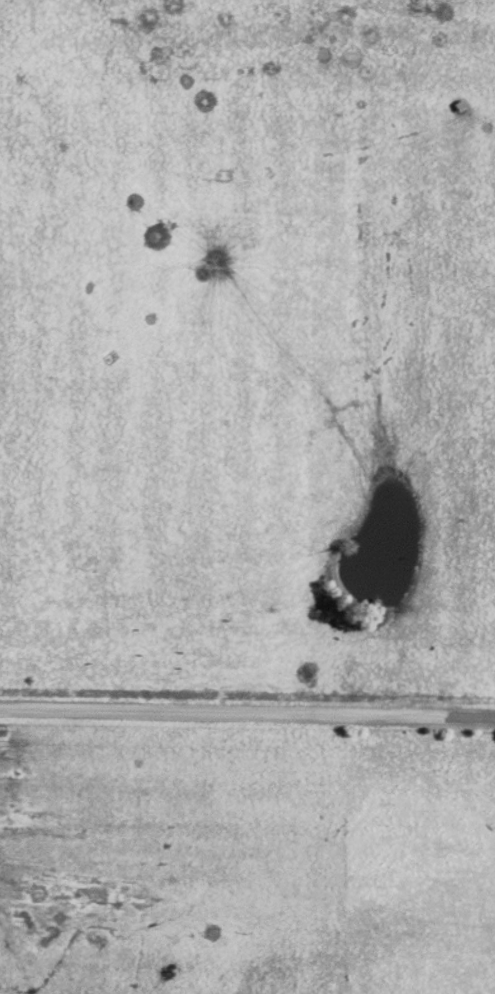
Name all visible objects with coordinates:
road: (247, 713)

